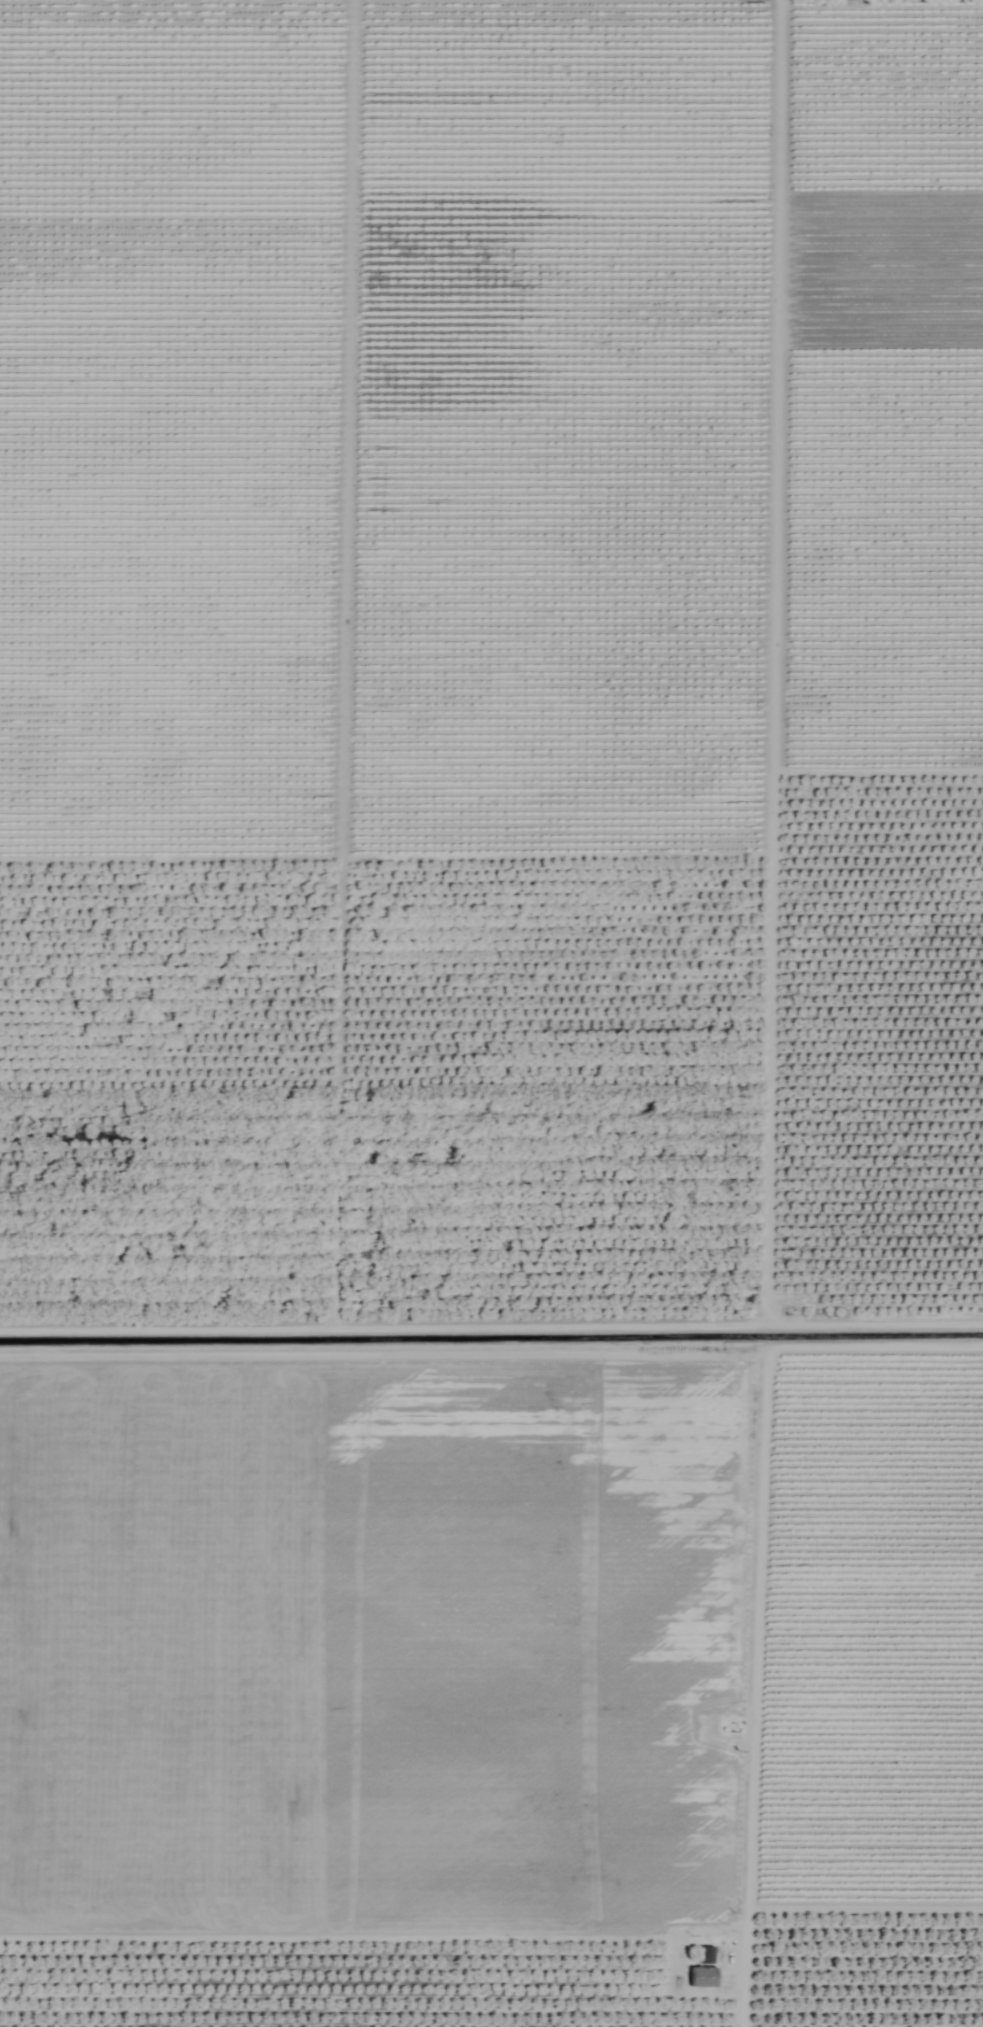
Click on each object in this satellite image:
road: (772, 664)
road: (752, 1689)

